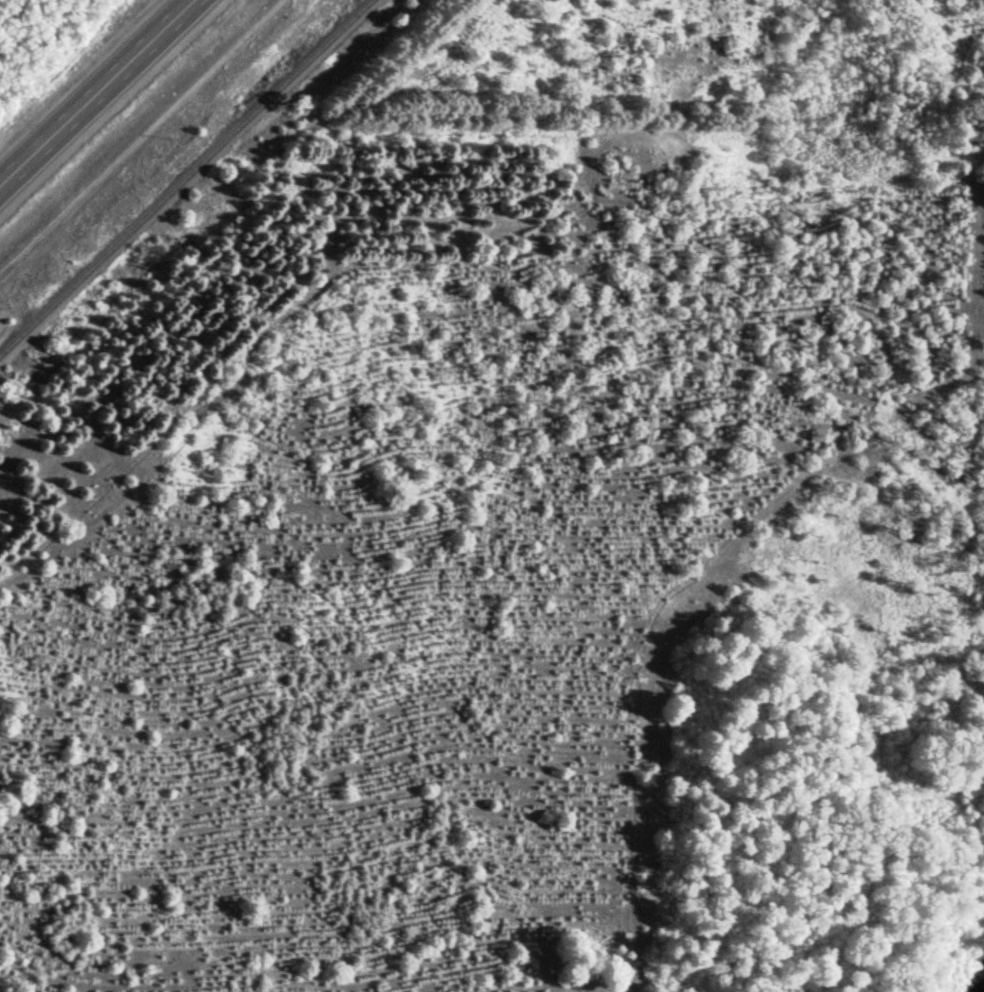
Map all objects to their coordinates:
road: (94, 91)
road: (145, 139)
railway: (186, 181)

